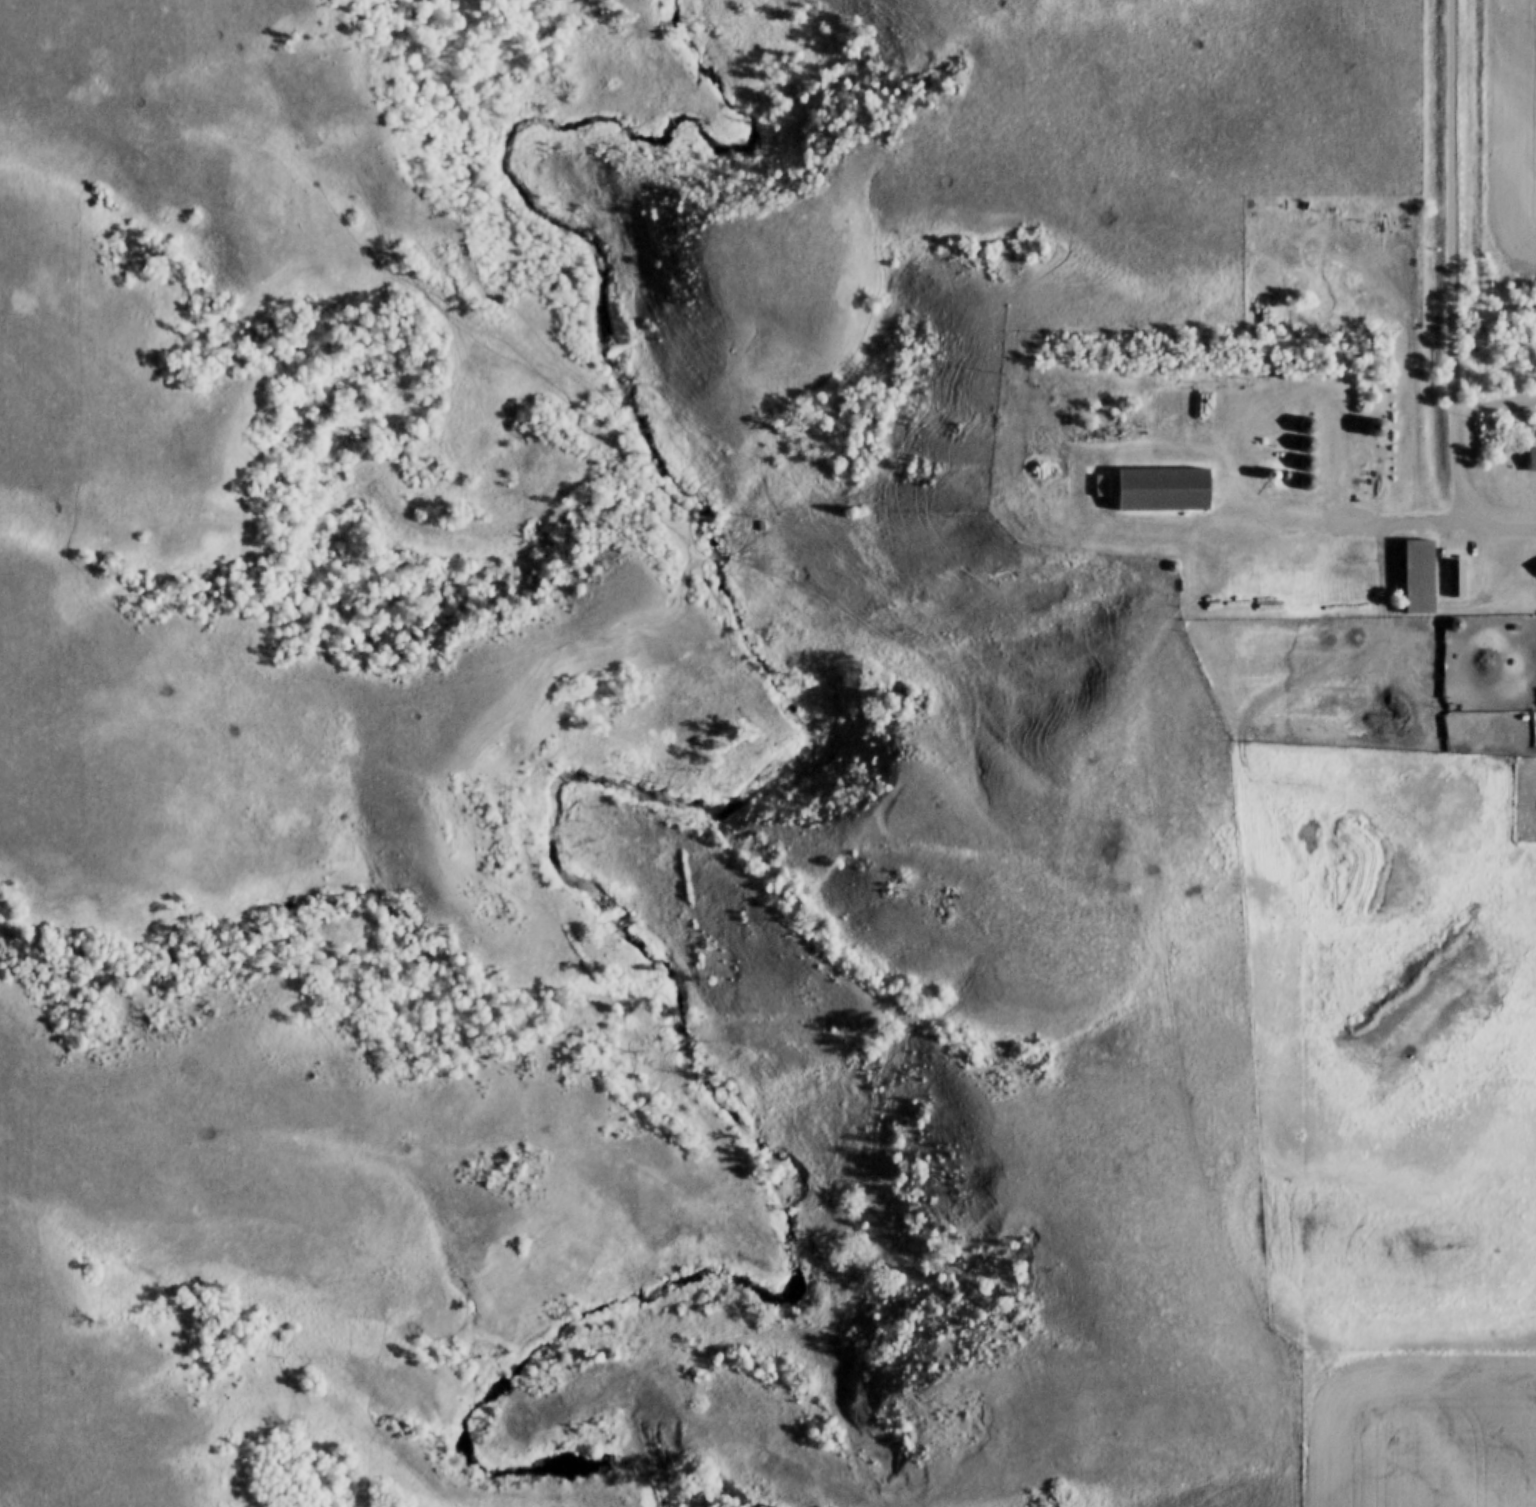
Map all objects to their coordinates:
road: (1454, 272)
building: (1376, 428)
building: (1533, 461)
building: (1165, 490)
road: (1374, 523)
building: (1420, 577)
building: (1454, 578)
road: (1154, 812)

